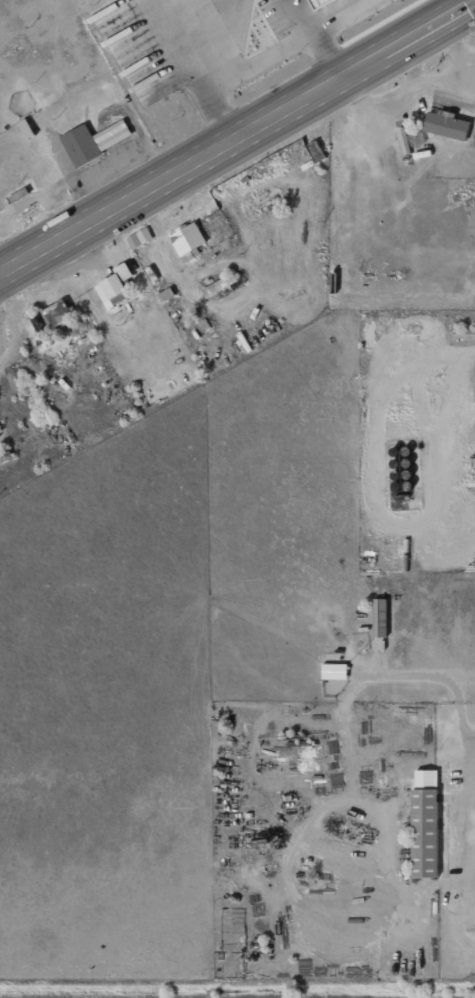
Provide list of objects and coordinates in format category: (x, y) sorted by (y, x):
building: (321, 2)
gas station: (321, 2)
road: (415, 39)
building: (450, 124)
building: (85, 143)
road: (178, 178)
building: (465, 190)
building: (138, 238)
building: (187, 242)
building: (219, 285)
building: (113, 287)
building: (53, 315)
road: (3, 329)
building: (5, 454)
building: (379, 616)
building: (333, 670)
building: (426, 812)

